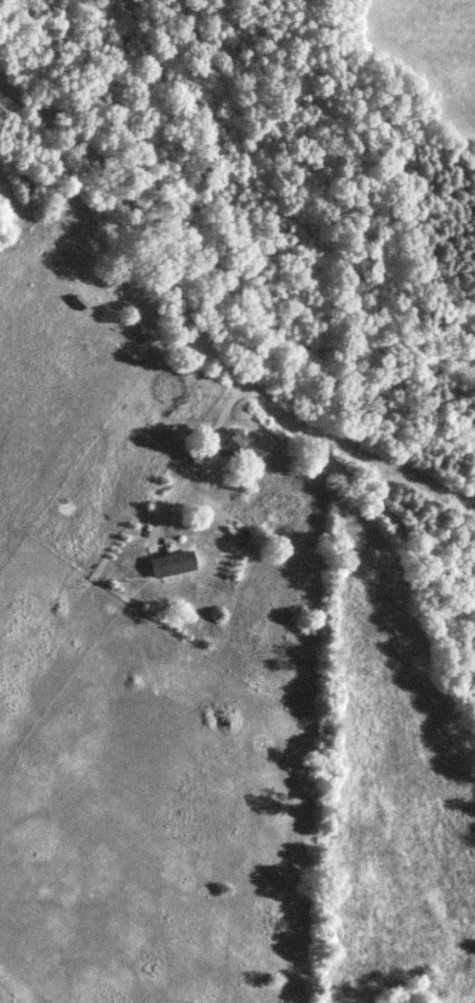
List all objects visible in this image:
road: (246, 384)
building: (227, 449)
road: (195, 469)
building: (174, 565)

